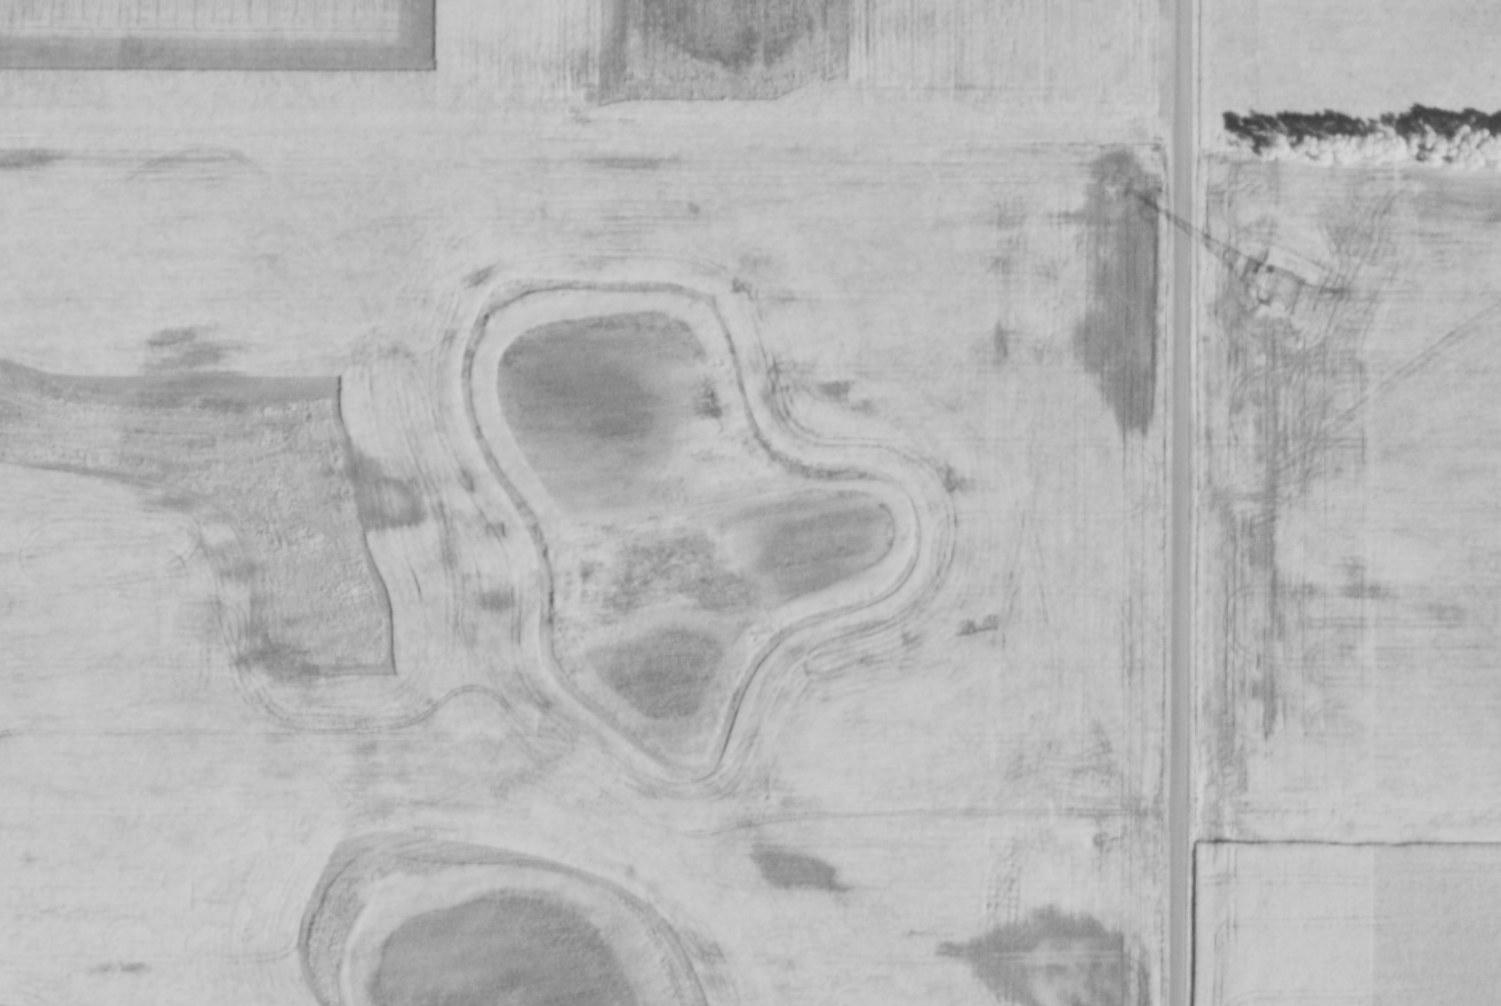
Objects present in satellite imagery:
power tower: (1279, 289)
road: (1183, 503)

